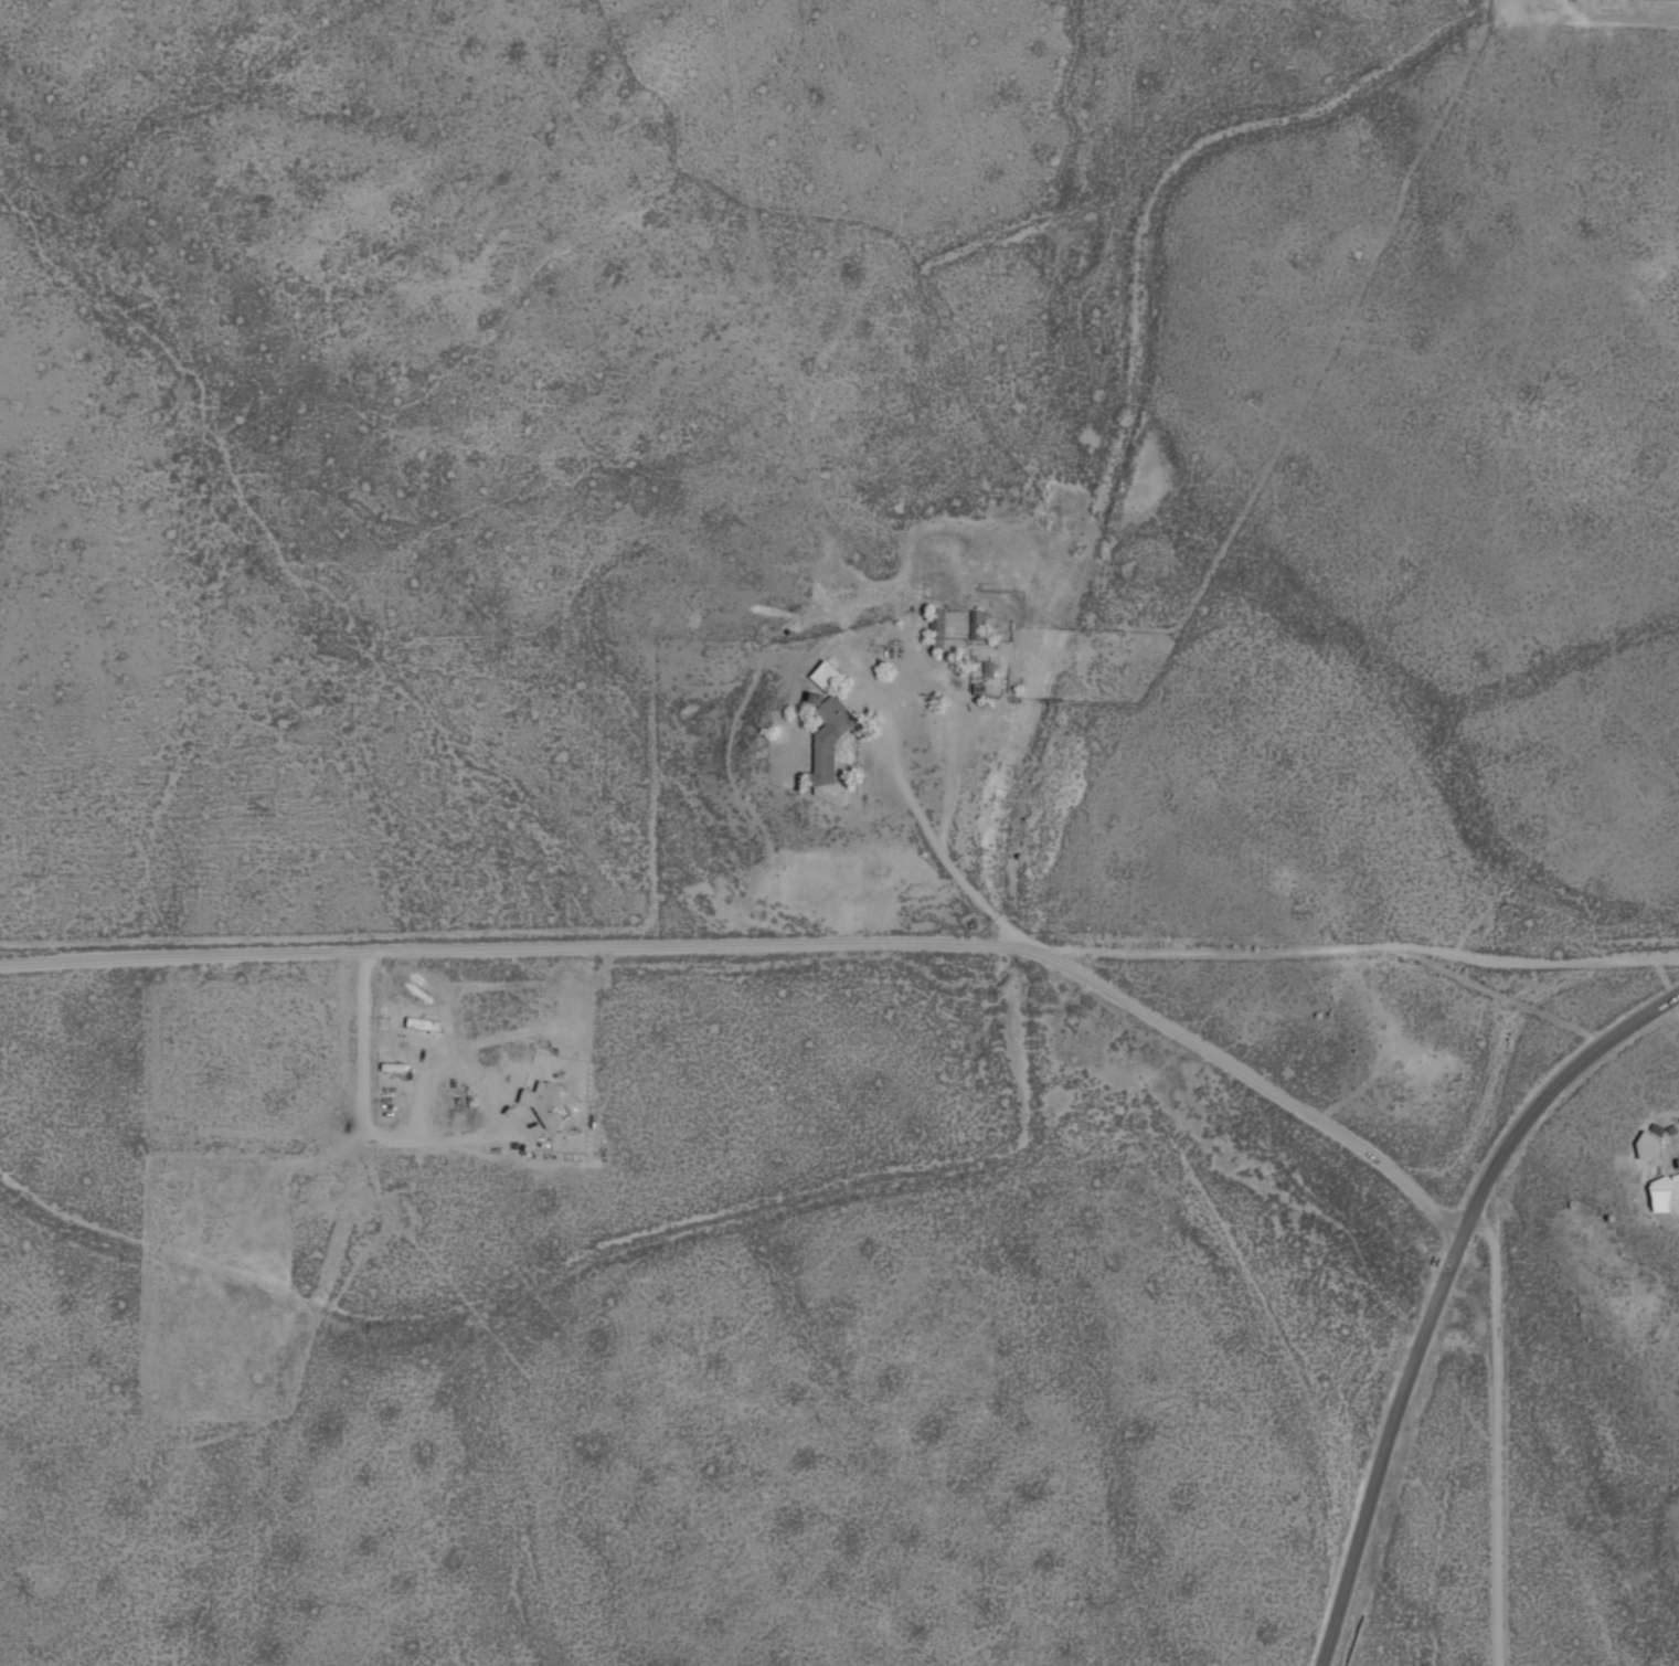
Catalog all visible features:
road: (1612, 17)
building: (821, 672)
building: (821, 747)
road: (774, 942)
building: (541, 1093)
building: (1661, 1191)
road: (1437, 1290)

